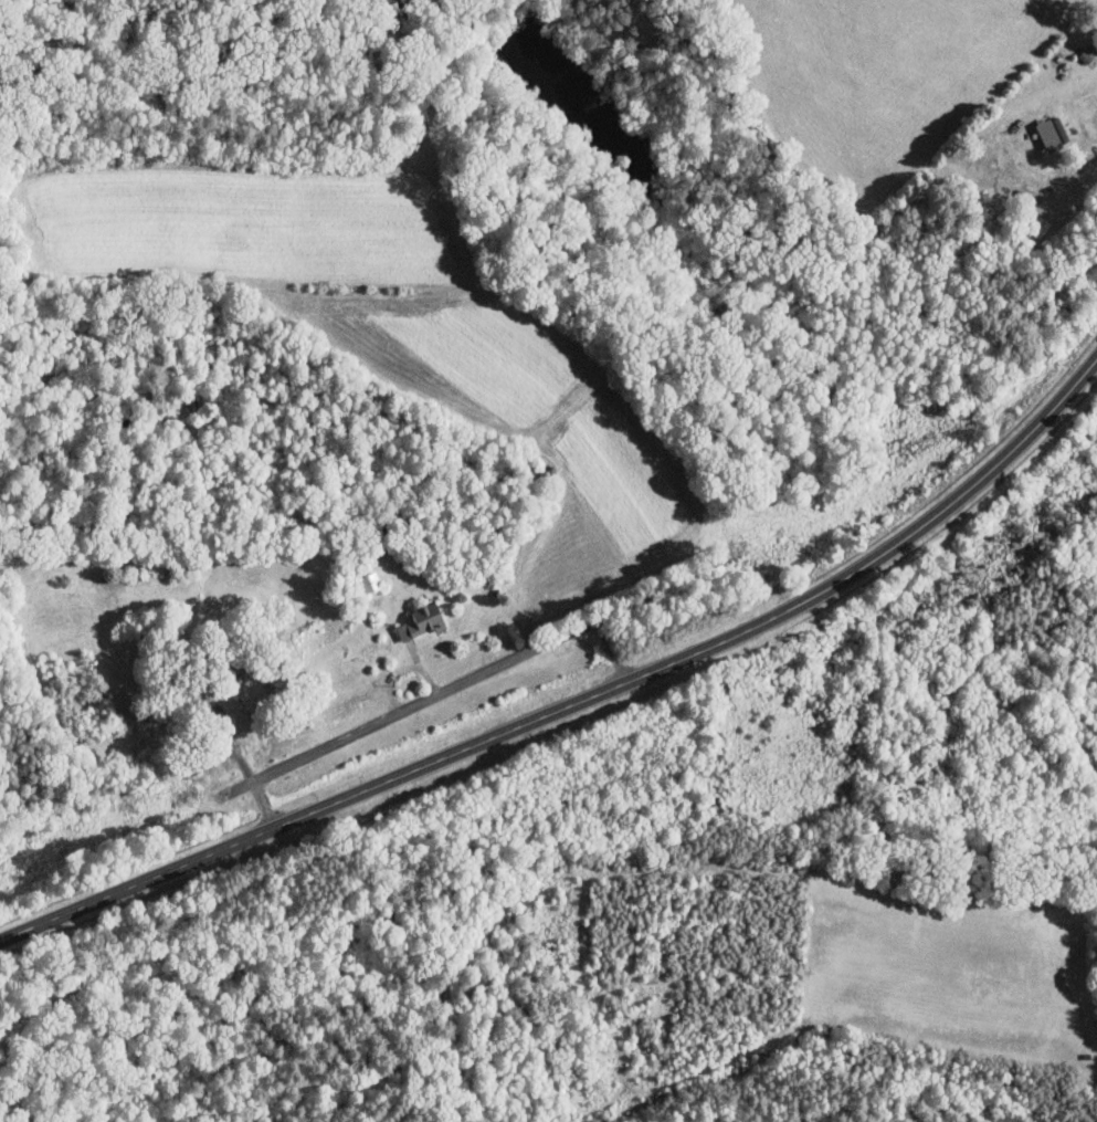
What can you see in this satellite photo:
building: (421, 621)
building: (251, 695)
road: (431, 695)
road: (580, 701)

